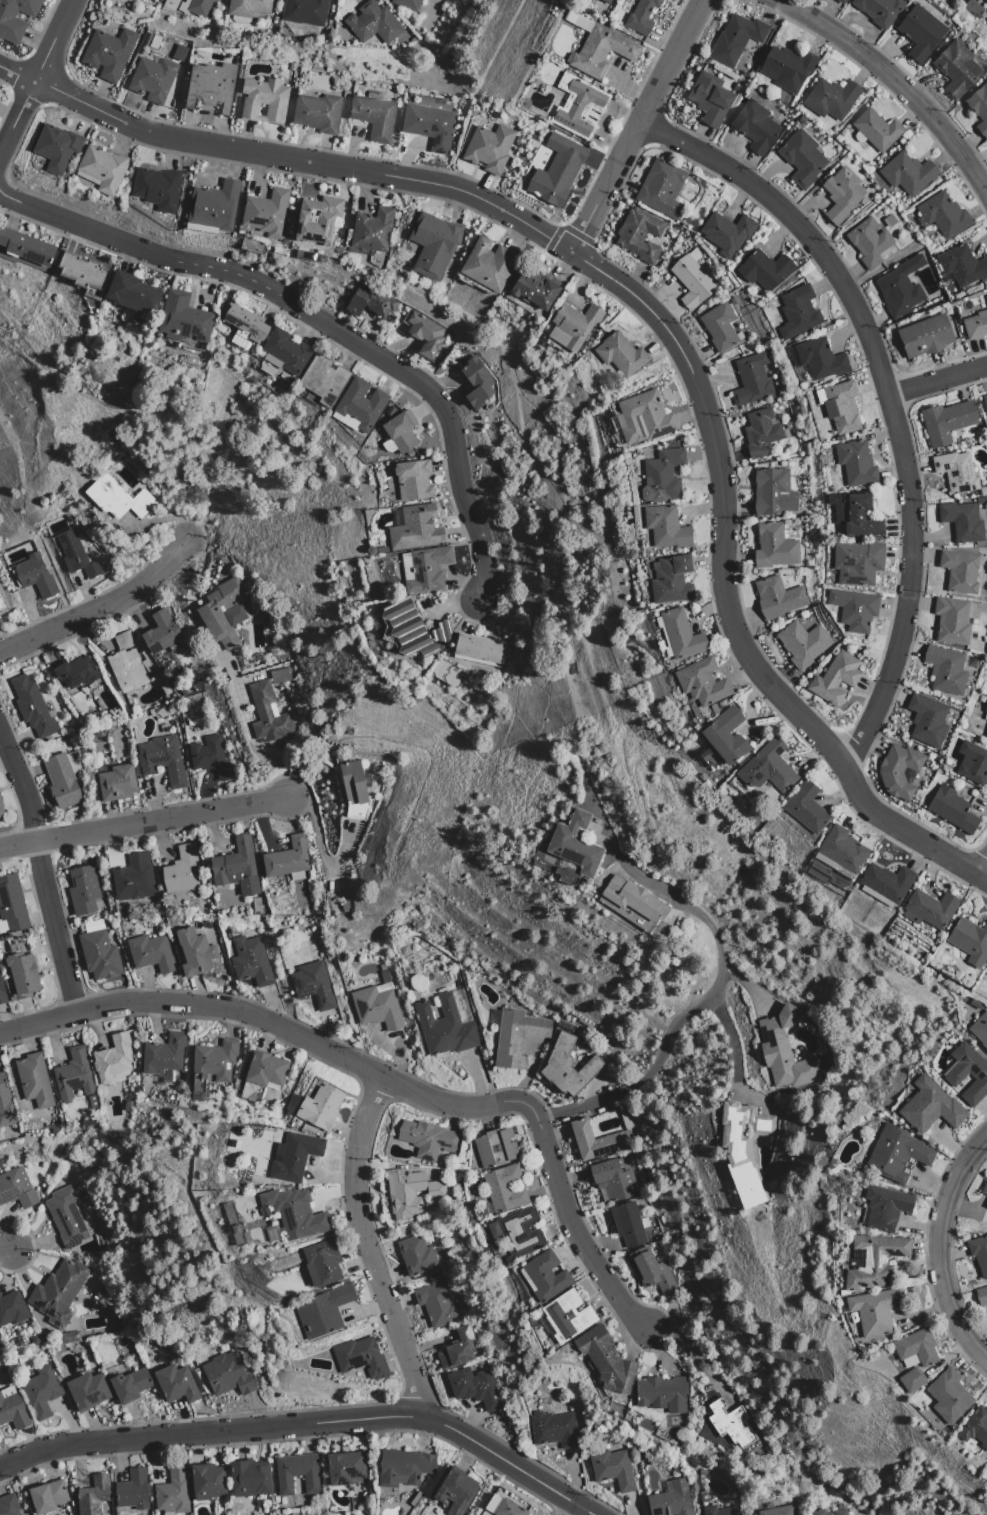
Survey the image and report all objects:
building: (613, 0)
building: (606, 1)
building: (840, 1)
building: (985, 1)
building: (413, 5)
building: (194, 7)
building: (246, 9)
building: (879, 10)
building: (304, 11)
building: (641, 16)
building: (15, 18)
building: (372, 23)
building: (986, 23)
building: (919, 32)
building: (735, 39)
road: (52, 41)
building: (601, 51)
building: (108, 53)
building: (787, 68)
building: (956, 69)
building: (152, 79)
road: (895, 80)
building: (210, 86)
building: (709, 98)
building: (830, 98)
building: (263, 101)
building: (578, 106)
building: (979, 108)
building: (317, 113)
road: (16, 115)
building: (373, 116)
building: (429, 125)
road: (638, 126)
building: (755, 127)
building: (876, 130)
building: (56, 147)
building: (488, 148)
road: (286, 158)
building: (802, 159)
building: (101, 169)
building: (557, 170)
building: (907, 173)
building: (157, 188)
building: (662, 188)
building: (841, 194)
building: (212, 207)
building: (266, 213)
building: (943, 215)
building: (317, 219)
road: (800, 229)
building: (372, 230)
building: (727, 232)
building: (639, 235)
building: (868, 242)
building: (433, 244)
building: (26, 247)
building: (488, 265)
building: (962, 265)
building: (764, 269)
building: (83, 273)
building: (691, 282)
building: (535, 287)
building: (900, 287)
building: (132, 292)
building: (986, 297)
building: (370, 303)
building: (797, 312)
building: (183, 318)
road: (316, 321)
building: (244, 323)
building: (975, 325)
building: (572, 326)
building: (719, 327)
building: (424, 333)
building: (924, 336)
building: (284, 352)
building: (620, 355)
building: (820, 359)
building: (751, 379)
building: (323, 380)
building: (476, 382)
road: (938, 383)
building: (985, 402)
building: (358, 406)
building: (839, 406)
building: (644, 418)
building: (945, 422)
building: (399, 432)
building: (760, 432)
building: (855, 463)
building: (956, 472)
building: (662, 476)
building: (413, 480)
building: (772, 492)
building: (117, 498)
building: (853, 514)
building: (962, 520)
building: (415, 527)
building: (666, 527)
building: (773, 547)
building: (77, 556)
building: (857, 563)
building: (424, 569)
building: (959, 571)
building: (35, 576)
building: (671, 580)
road: (910, 588)
road: (725, 595)
building: (777, 597)
building: (3, 604)
road: (99, 608)
building: (853, 609)
building: (223, 613)
building: (951, 620)
building: (414, 629)
building: (161, 632)
building: (680, 635)
building: (802, 643)
building: (478, 648)
building: (126, 664)
building: (945, 670)
building: (75, 672)
building: (834, 678)
building: (701, 682)
building: (32, 707)
building: (985, 713)
building: (267, 714)
building: (926, 720)
building: (986, 733)
building: (725, 736)
building: (210, 757)
building: (162, 760)
building: (972, 763)
building: (767, 768)
building: (898, 770)
building: (61, 782)
building: (116, 783)
building: (354, 789)
building: (805, 807)
building: (1, 808)
building: (952, 810)
road: (144, 823)
building: (574, 845)
building: (842, 850)
building: (287, 858)
building: (236, 867)
building: (181, 870)
road: (982, 870)
road: (42, 875)
building: (133, 878)
building: (886, 882)
building: (84, 891)
building: (632, 898)
building: (11, 905)
building: (928, 909)
building: (969, 940)
building: (194, 952)
building: (150, 953)
building: (99, 955)
building: (250, 961)
road: (720, 972)
building: (986, 973)
building: (22, 974)
building: (312, 985)
building: (1, 994)
building: (377, 1004)
road: (276, 1027)
building: (444, 1027)
building: (980, 1029)
building: (516, 1037)
building: (784, 1051)
road: (735, 1052)
building: (163, 1054)
building: (113, 1058)
building: (215, 1060)
building: (567, 1067)
building: (265, 1070)
building: (954, 1074)
building: (73, 1075)
building: (33, 1080)
building: (5, 1106)
building: (930, 1106)
building: (319, 1107)
building: (428, 1139)
building: (598, 1140)
building: (494, 1147)
building: (743, 1149)
building: (897, 1154)
building: (290, 1157)
building: (612, 1180)
building: (16, 1188)
building: (505, 1188)
building: (984, 1188)
building: (410, 1193)
building: (986, 1206)
building: (884, 1207)
building: (293, 1213)
building: (66, 1216)
building: (627, 1224)
building: (519, 1232)
road: (575, 1237)
road: (938, 1249)
road: (6, 1250)
road: (366, 1250)
building: (979, 1253)
building: (415, 1255)
building: (872, 1260)
building: (322, 1263)
building: (651, 1270)
building: (545, 1276)
building: (58, 1292)
building: (981, 1296)
building: (436, 1304)
building: (12, 1309)
building: (322, 1310)
building: (874, 1311)
building: (566, 1316)
building: (457, 1349)
building: (915, 1349)
building: (360, 1357)
building: (605, 1360)
building: (226, 1375)
building: (911, 1380)
building: (175, 1383)
building: (130, 1385)
building: (473, 1387)
building: (88, 1390)
building: (40, 1392)
building: (662, 1393)
building: (948, 1396)
building: (12, 1409)
building: (730, 1423)
road: (306, 1425)
building: (975, 1427)
building: (553, 1429)
building: (403, 1467)
building: (344, 1468)
building: (612, 1468)
building: (297, 1473)
building: (249, 1478)
building: (207, 1481)
building: (132, 1490)
building: (456, 1491)
building: (173, 1492)
building: (93, 1495)
building: (47, 1496)
building: (671, 1500)
building: (492, 1504)
building: (8, 1505)
building: (508, 1509)
road: (575, 1511)
building: (720, 1511)
building: (777, 1511)
building: (817, 1512)
building: (839, 1512)

